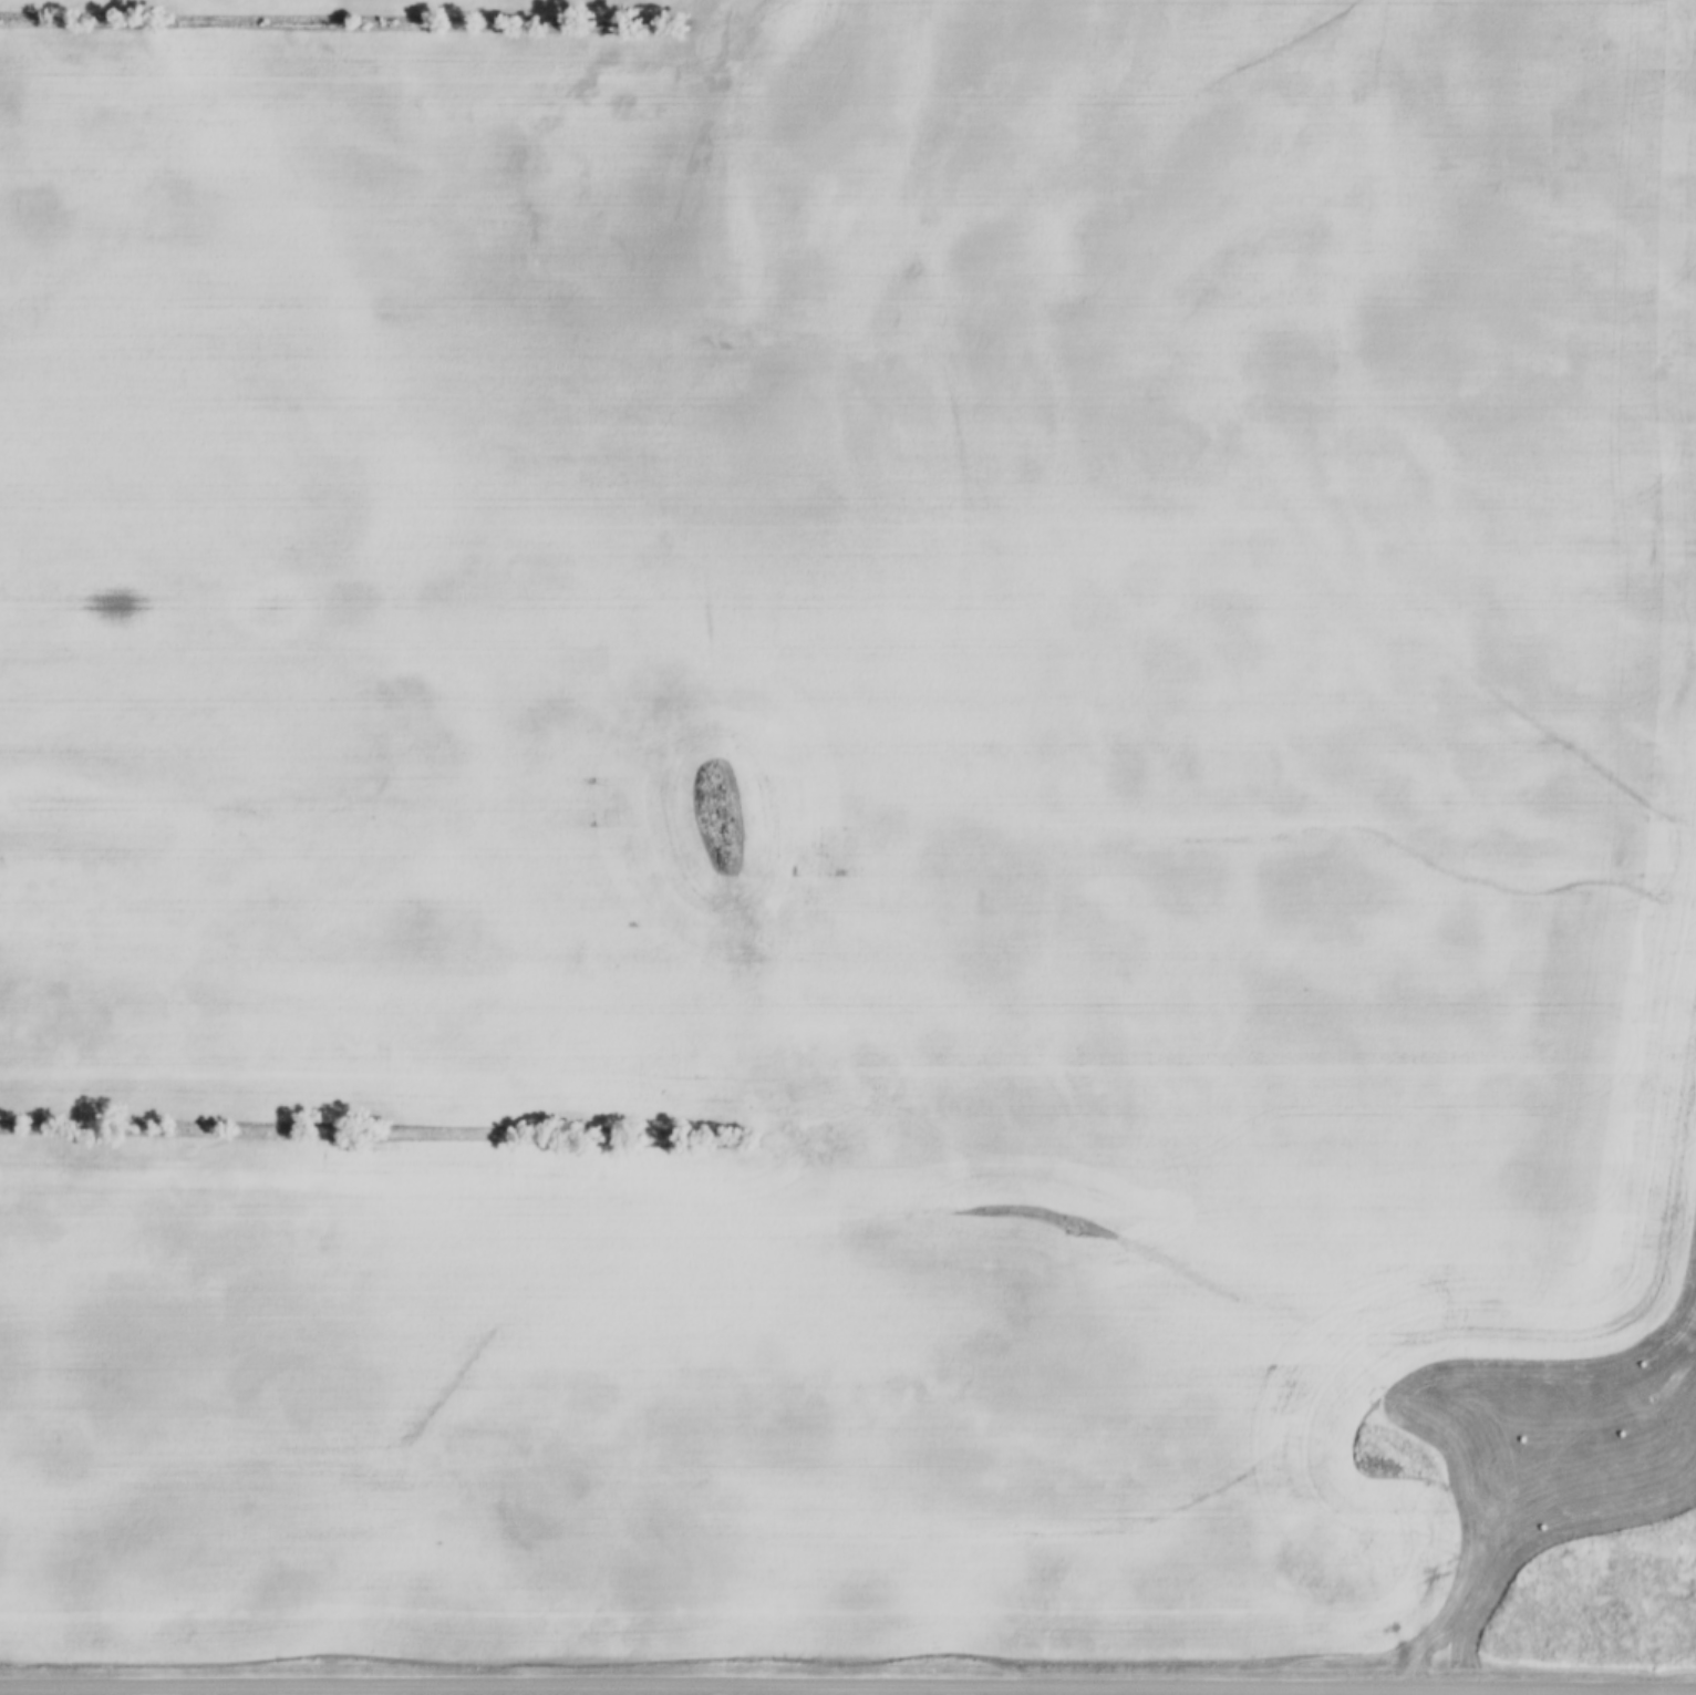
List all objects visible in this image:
road: (847, 1686)

